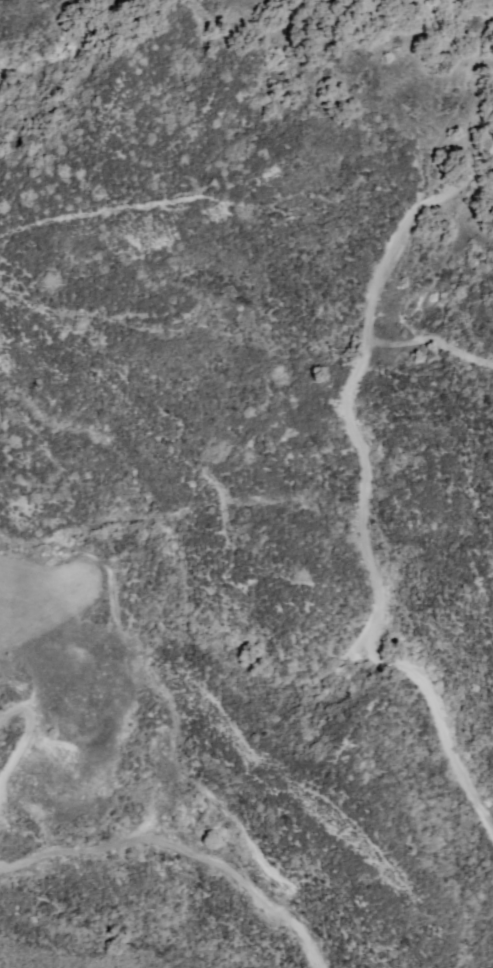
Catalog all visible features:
road: (366, 487)

